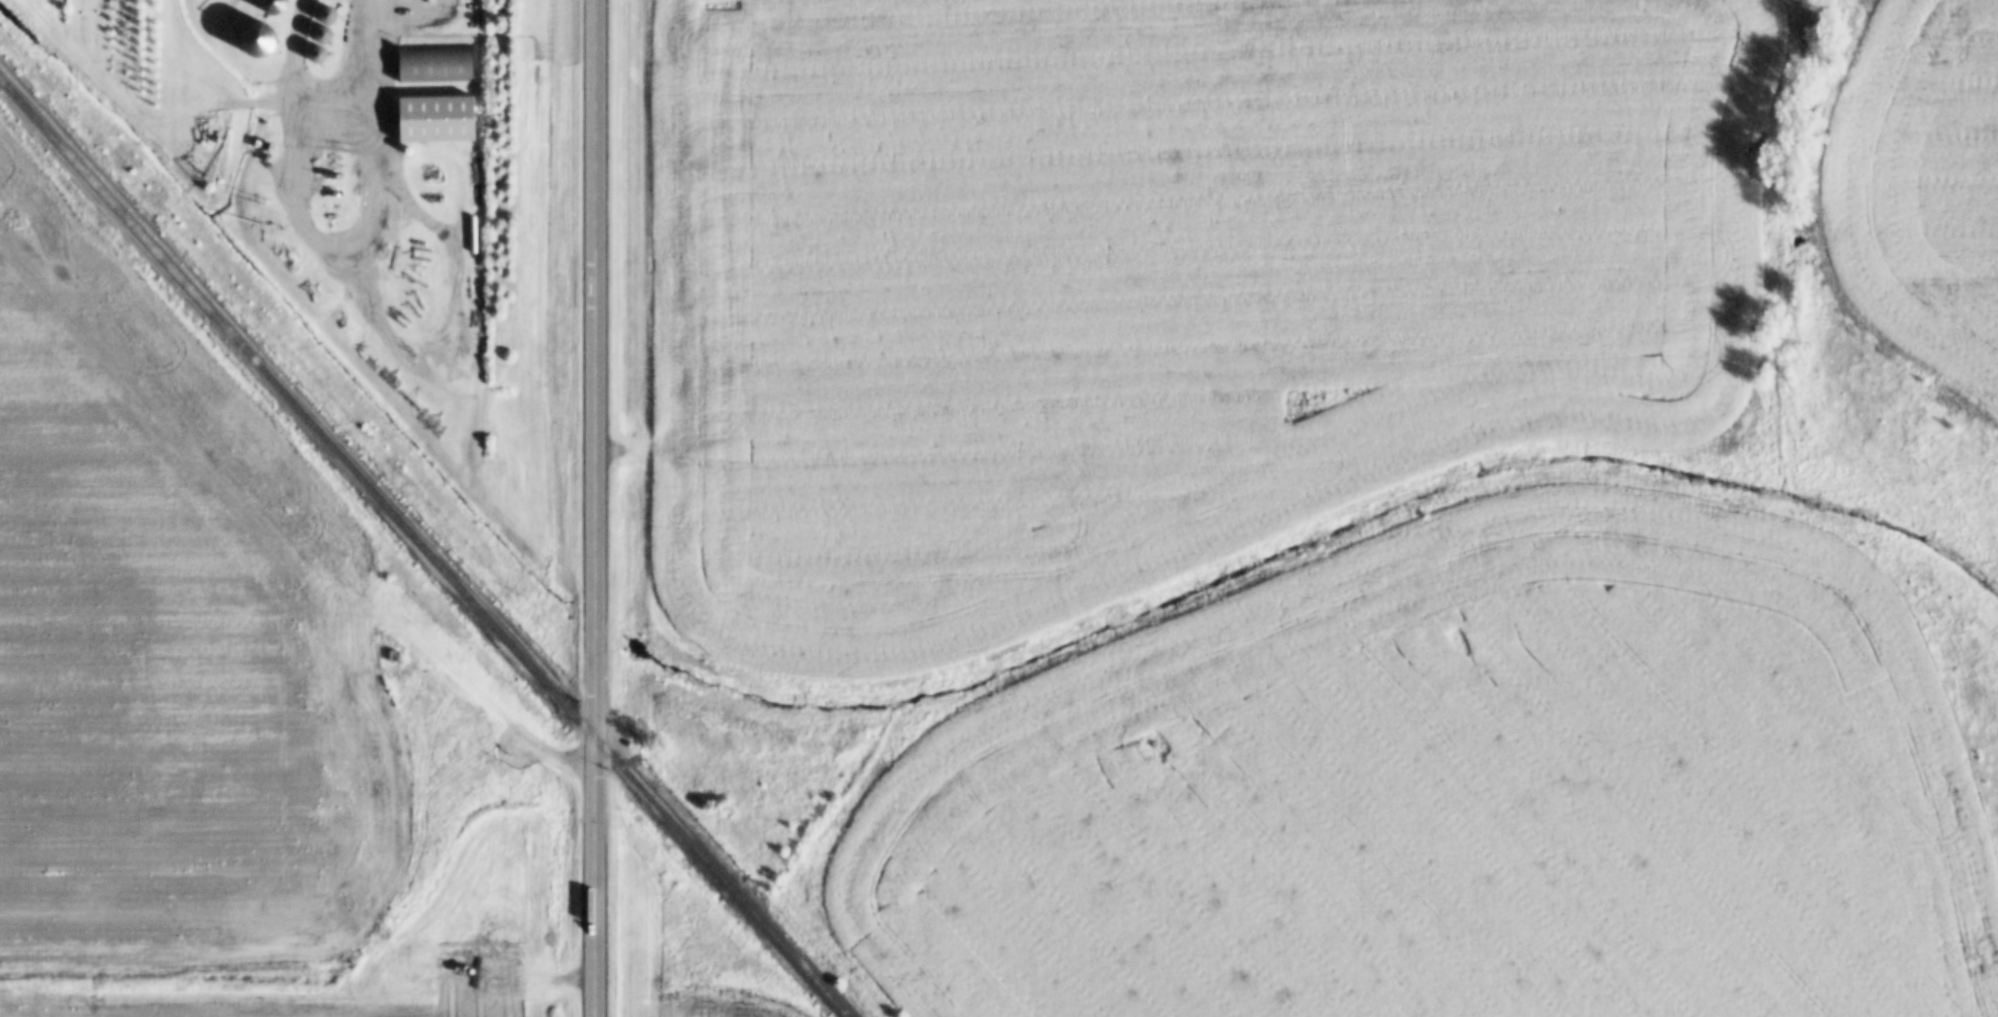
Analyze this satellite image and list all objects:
building: (271, 6)
silo: (271, 6)
building: (324, 16)
silo: (324, 16)
building: (319, 35)
silo: (319, 35)
building: (254, 40)
silo: (254, 40)
building: (314, 55)
silo: (314, 55)
building: (430, 65)
building: (432, 120)
road: (373, 124)
storage tank: (404, 152)
road: (590, 414)
railway: (421, 552)
building: (391, 657)
road: (516, 730)
road: (590, 879)
road: (591, 973)

